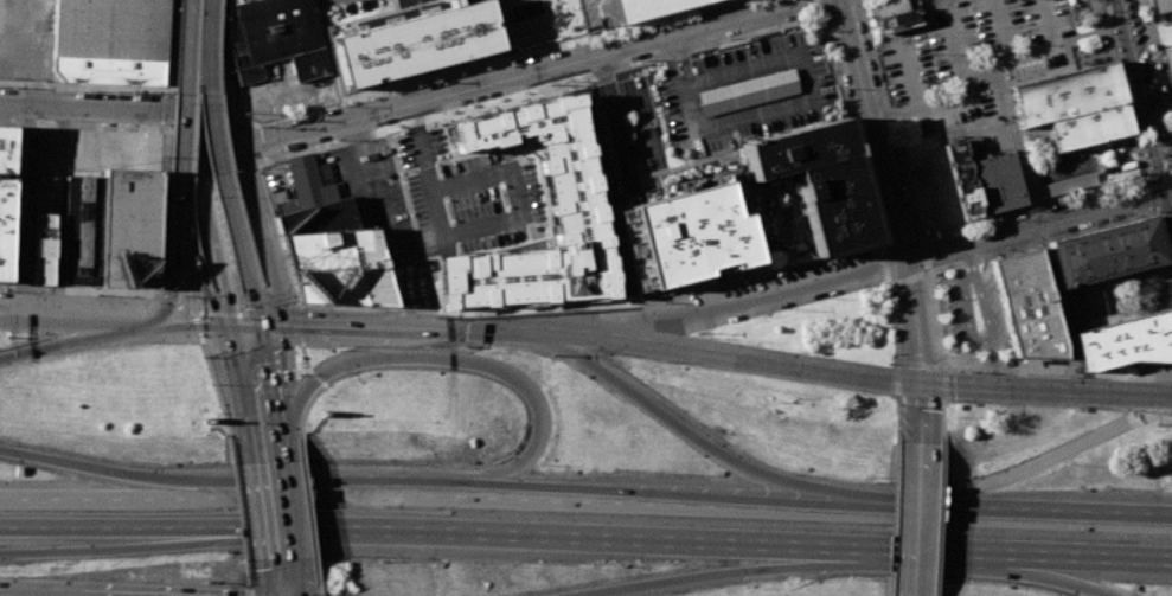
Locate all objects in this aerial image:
building: (236, 1)
parking lot: (875, 1)
building: (1160, 5)
road: (818, 6)
building: (647, 7)
road: (1142, 11)
railway: (1108, 13)
road: (203, 14)
building: (597, 14)
parking garage: (597, 14)
building: (895, 15)
road: (1104, 15)
road: (653, 18)
road: (1146, 20)
road: (1115, 28)
building: (271, 30)
road: (997, 31)
building: (110, 40)
building: (409, 41)
road: (1030, 52)
parking lot: (967, 57)
road: (684, 60)
building: (1167, 60)
road: (1068, 62)
building: (310, 63)
road: (671, 65)
road: (201, 71)
road: (1007, 72)
building: (250, 73)
road: (531, 75)
road: (1159, 75)
road: (910, 77)
road: (218, 82)
parking lot: (1171, 86)
road: (186, 89)
building: (747, 91)
parking lot: (748, 92)
building: (1065, 94)
road: (1139, 94)
road: (807, 95)
road: (968, 98)
road: (100, 108)
railway: (1142, 116)
road: (890, 117)
road: (614, 121)
road: (218, 123)
parking lot: (643, 123)
building: (1088, 126)
road: (851, 128)
parking lot: (981, 134)
road: (216, 142)
road: (1017, 143)
road: (1140, 150)
parking lot: (1065, 169)
road: (1057, 172)
building: (962, 179)
building: (992, 179)
building: (819, 180)
building: (308, 182)
building: (1071, 184)
road: (1167, 186)
traffic signals: (1164, 187)
road: (886, 191)
parking lot: (935, 193)
building: (5, 197)
building: (531, 200)
road: (1167, 201)
road: (182, 203)
road: (58, 212)
parking lot: (380, 212)
building: (319, 218)
road: (211, 219)
road: (1033, 223)
road: (388, 224)
building: (130, 226)
building: (83, 229)
road: (261, 230)
building: (628, 233)
building: (692, 233)
building: (43, 249)
building: (1103, 251)
road: (994, 254)
road: (963, 256)
building: (338, 267)
road: (197, 276)
road: (175, 280)
road: (905, 280)
road: (726, 282)
railway: (440, 283)
road: (744, 301)
road: (258, 303)
building: (1025, 303)
building: (1080, 303)
road: (177, 305)
parking lot: (971, 310)
road: (242, 313)
road: (75, 320)
road: (184, 325)
traffic signals: (217, 326)
road: (239, 327)
traffic signals: (263, 328)
road: (423, 328)
building: (1126, 340)
road: (60, 344)
road: (984, 344)
road: (754, 358)
road: (476, 364)
road: (308, 371)
road: (896, 378)
road: (212, 379)
road: (274, 384)
road: (943, 384)
road: (322, 387)
road: (1042, 390)
road: (236, 393)
road: (1166, 397)
road: (921, 411)
road: (661, 414)
road: (942, 421)
road: (286, 451)
road: (1048, 456)
road: (96, 468)
road: (493, 492)
road: (96, 494)
road: (863, 506)
road: (239, 508)
road: (261, 512)
road: (1051, 512)
road: (307, 513)
road: (295, 518)
road: (918, 518)
road: (939, 519)
road: (114, 526)
road: (519, 534)
road: (116, 547)
road: (916, 550)
road: (1097, 557)
road: (698, 576)
road: (1068, 576)
road: (271, 578)
road: (301, 583)
road: (250, 590)
road: (13, 594)
road: (320, 595)

